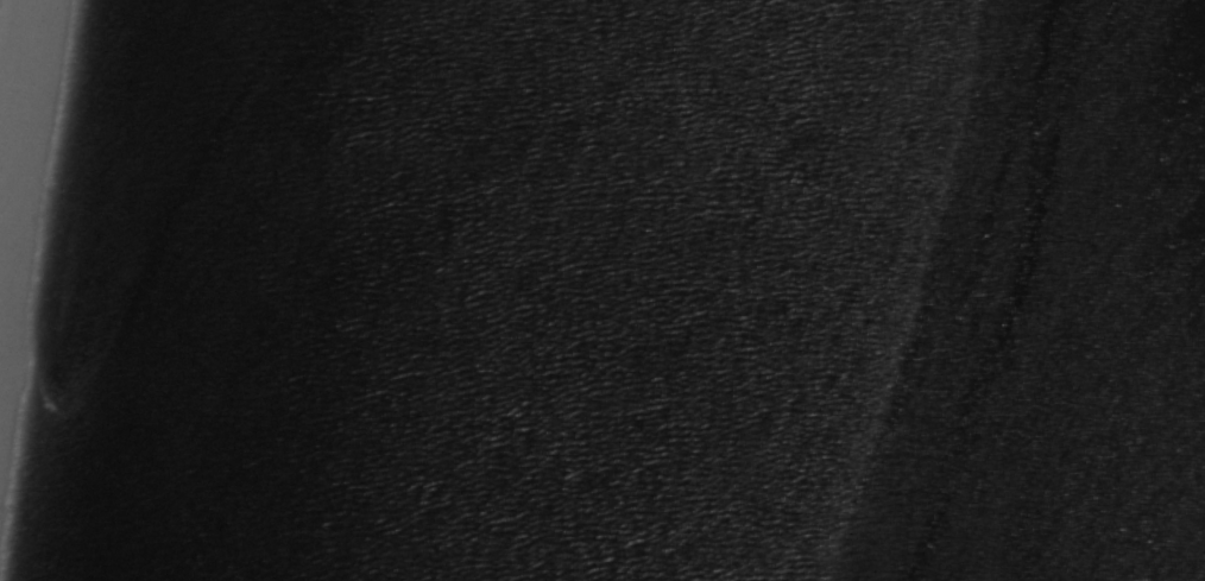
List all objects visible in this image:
river: (955, 290)

